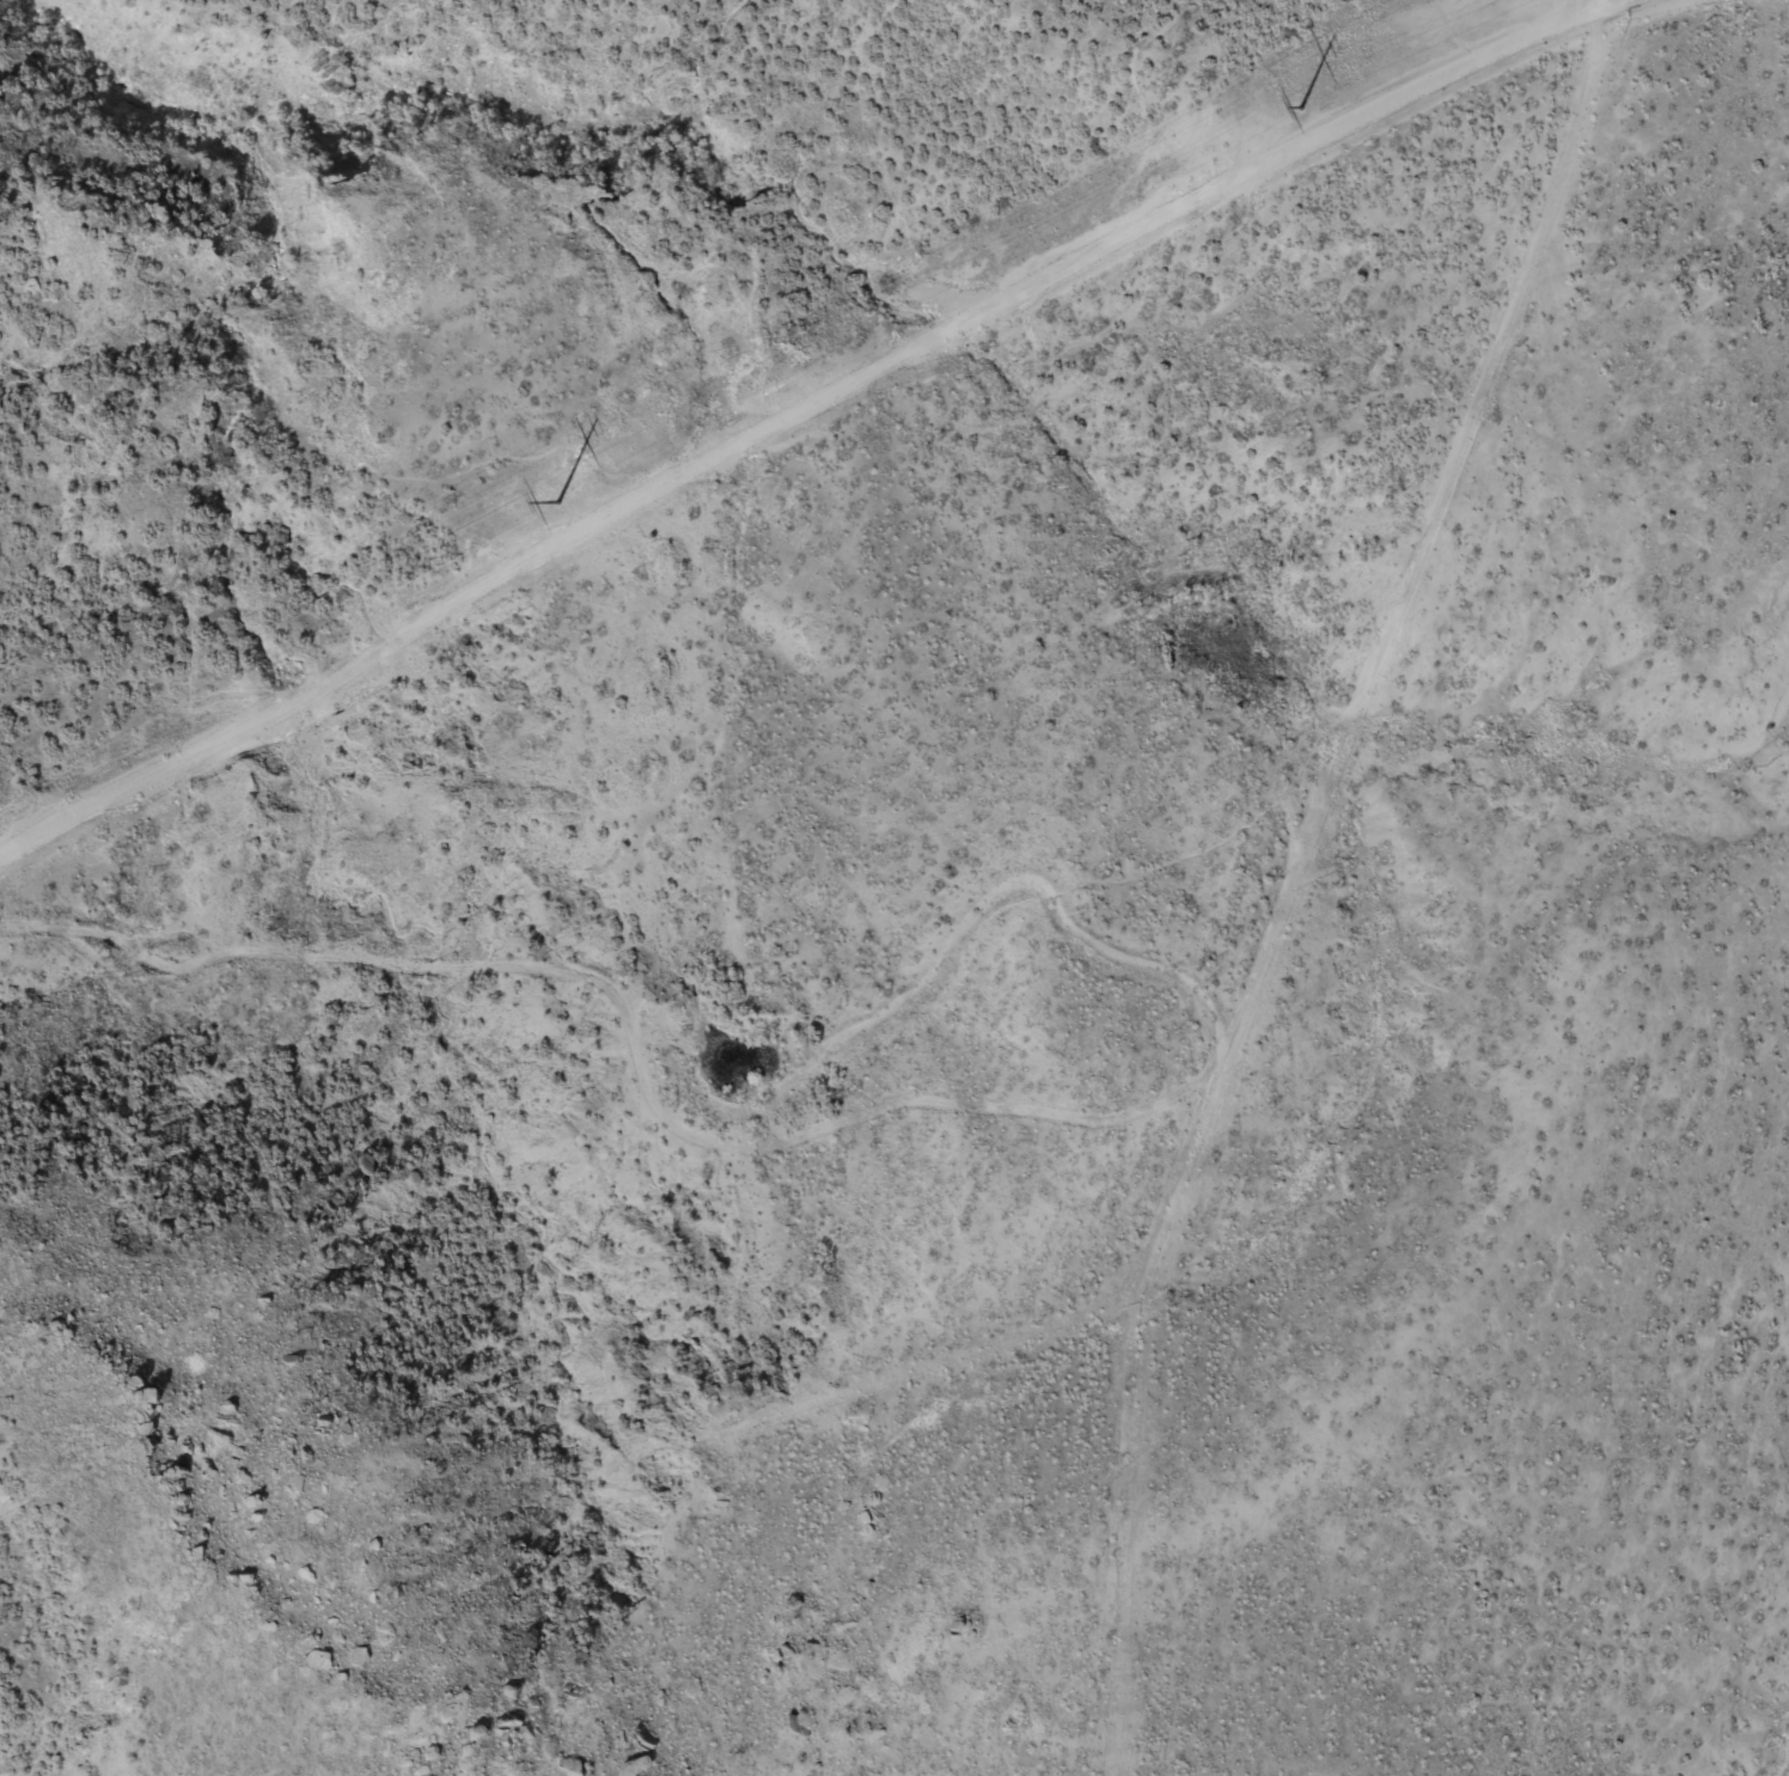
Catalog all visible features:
power tower: (1299, 108)
power tower: (555, 500)

